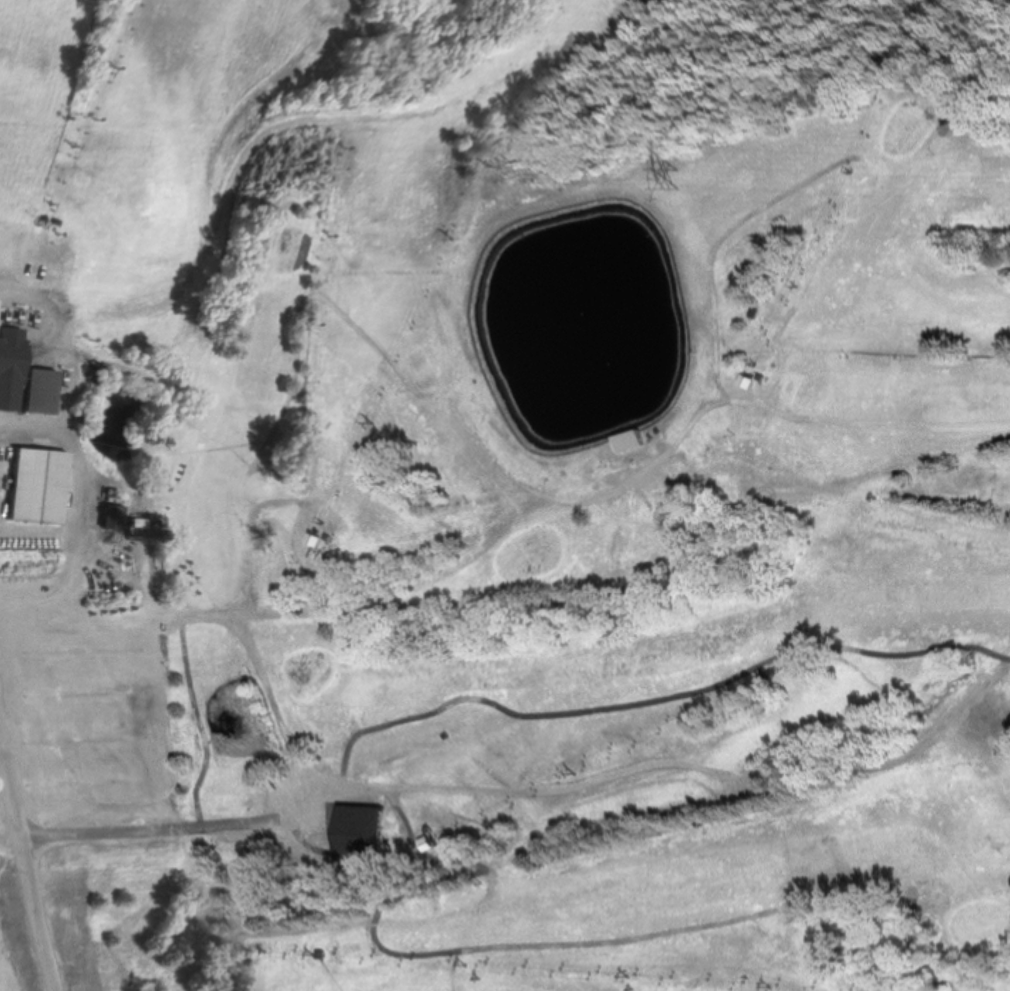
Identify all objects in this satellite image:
aerialway pylon: (920, 28)
aerialway pylon: (113, 65)
aerialway pylon: (896, 82)
aerialway pylon: (93, 117)
aerialway pylon: (482, 164)
aerialway pylon: (855, 172)
power tower: (687, 190)
aerialway pylon: (451, 237)
aerialway pylon: (802, 288)
road: (49, 304)
building: (11, 374)
building: (40, 390)
aerialway pylon: (372, 421)
ski resort: (554, 453)
building: (38, 485)
road: (81, 494)
building: (112, 517)
road: (38, 536)
park: (598, 561)
aerialway pylon: (689, 707)
road: (285, 730)
aerialway pylon: (570, 764)
aerialway pylon: (448, 821)
road: (28, 856)
aerialway pylon: (286, 952)
aerialway pylon: (326, 955)
aerialway pylon: (471, 965)
aerialway pylon: (628, 976)
aerialway pylon: (771, 986)

